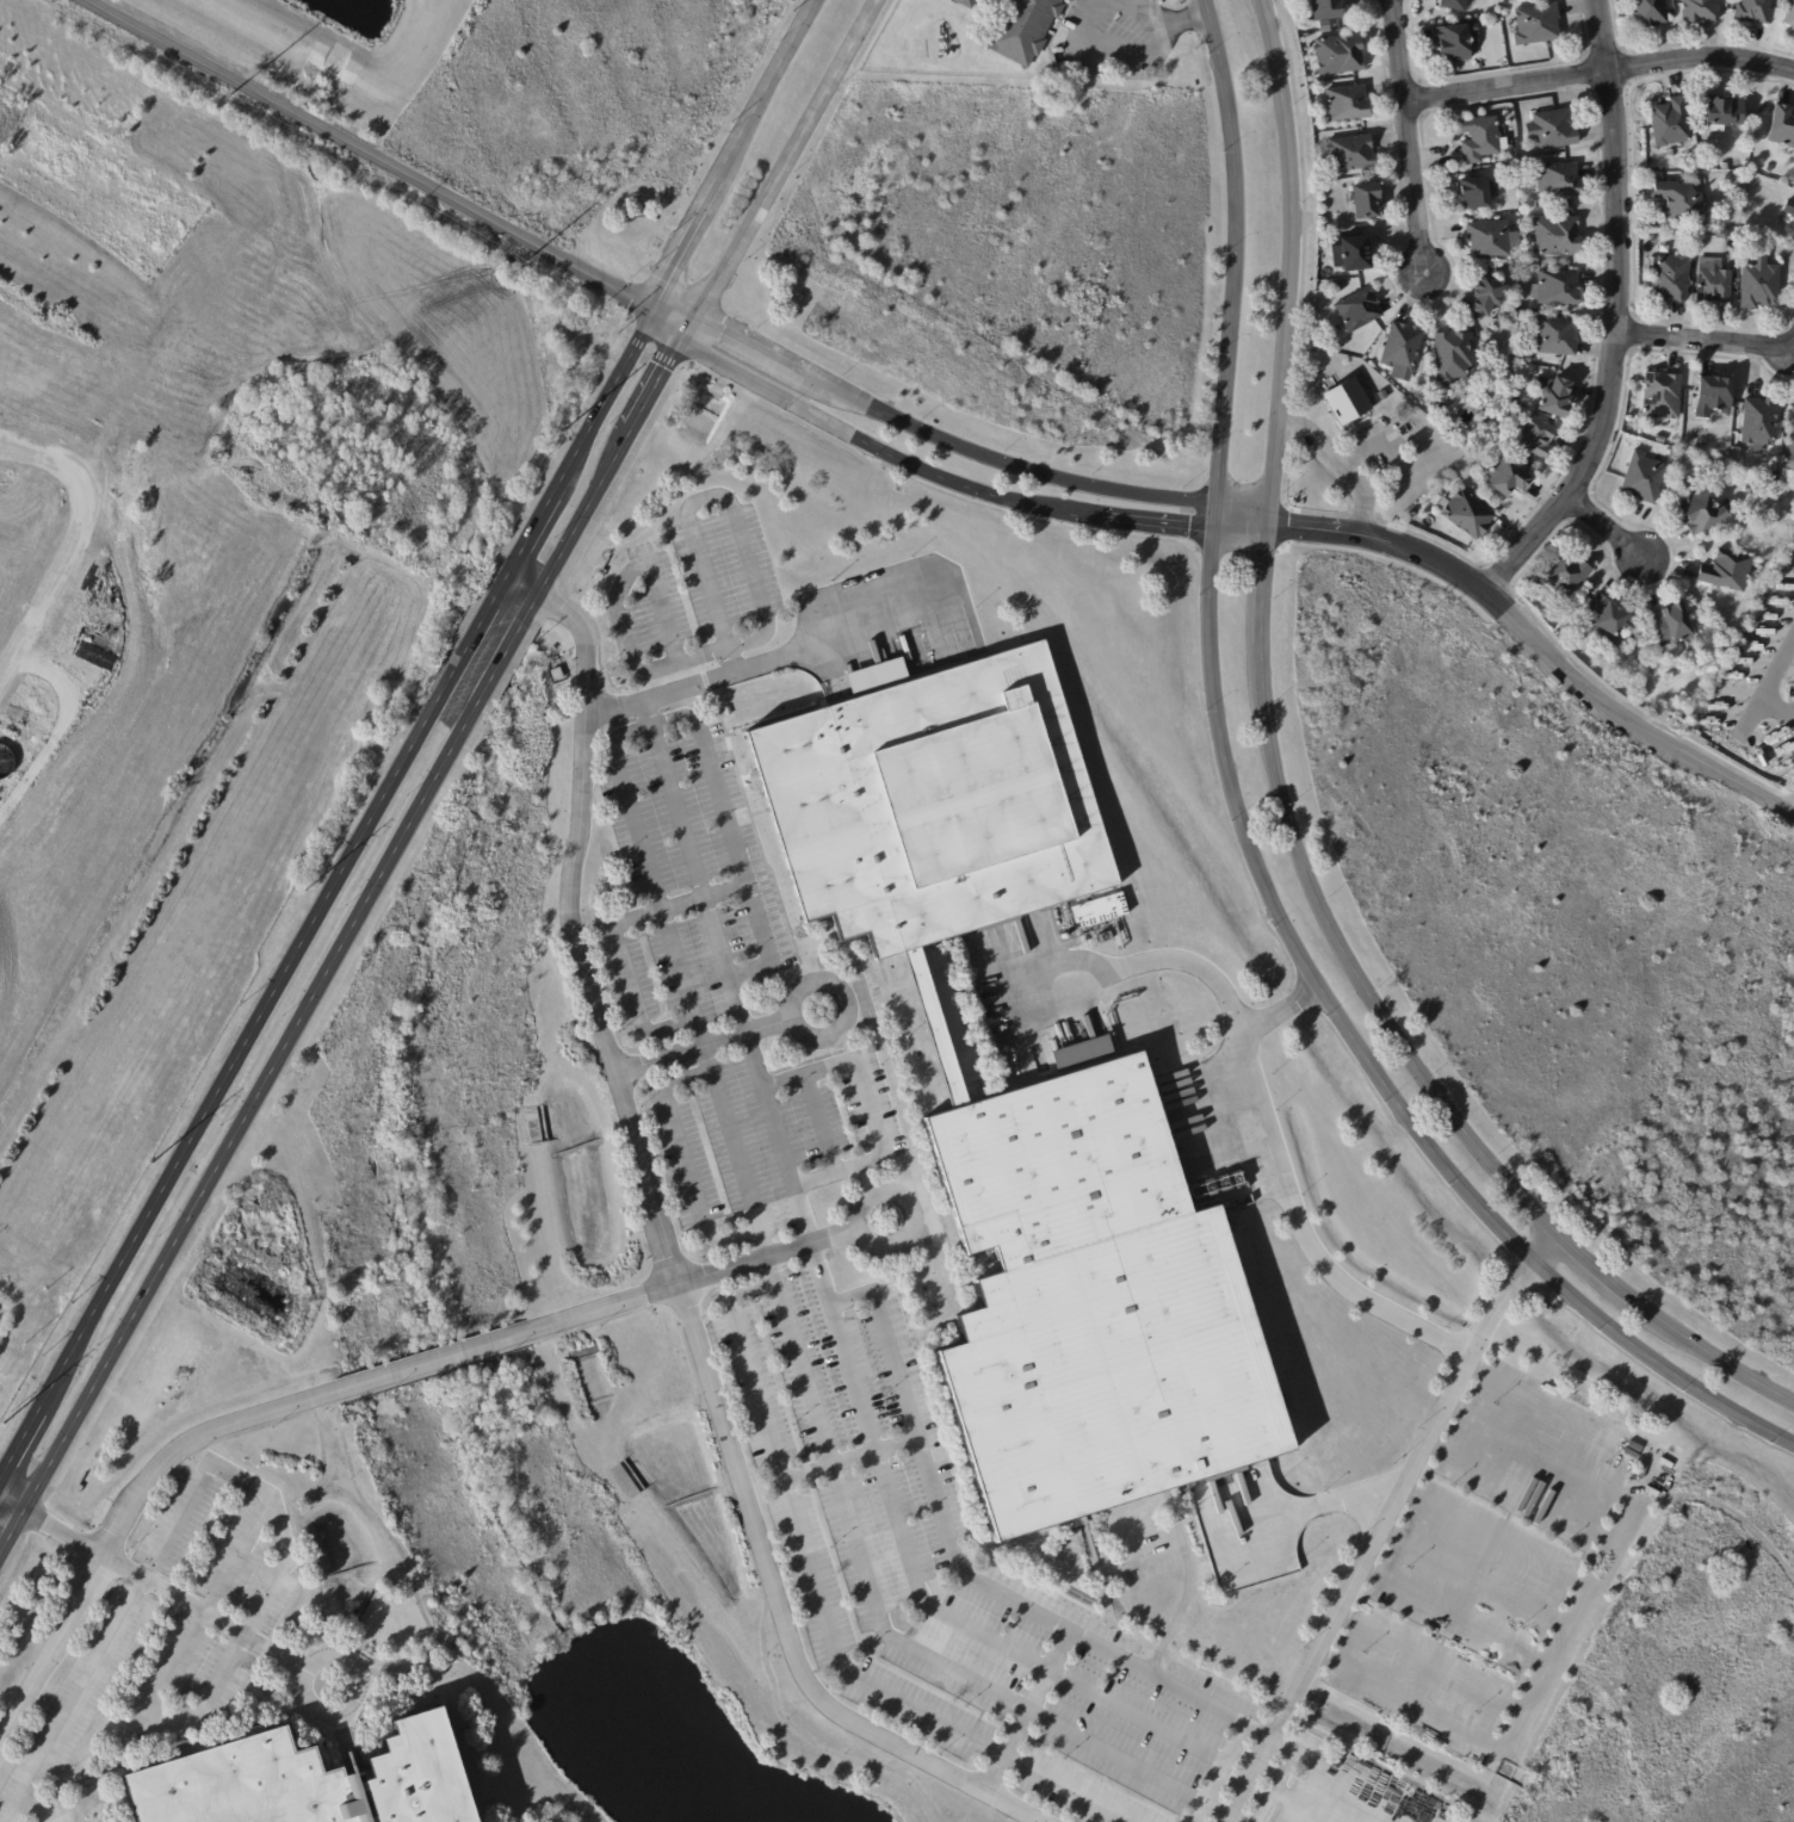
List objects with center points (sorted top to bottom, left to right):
building: (1454, 5)
building: (1700, 11)
building: (1753, 11)
building: (1324, 12)
building: (1651, 13)
building: (1790, 16)
road: (1088, 17)
building: (1479, 23)
building: (1538, 25)
building: (1020, 26)
building: (1793, 30)
building: (1455, 43)
building: (1340, 55)
road: (1600, 73)
building: (1348, 104)
building: (1726, 112)
building: (1671, 124)
building: (1783, 128)
building: (1553, 131)
road: (1409, 138)
building: (1480, 140)
road: (731, 154)
building: (1351, 154)
road: (361, 155)
building: (1726, 167)
building: (1770, 169)
road: (780, 172)
building: (1559, 180)
building: (1476, 194)
building: (1679, 199)
building: (1367, 202)
building: (1548, 210)
building: (1792, 222)
building: (1722, 235)
building: (1555, 237)
building: (1492, 240)
building: (1354, 254)
building: (1674, 280)
building: (1762, 285)
building: (1714, 286)
building: (1337, 287)
building: (1557, 289)
building: (1489, 298)
building: (1359, 310)
road: (1608, 315)
building: (1555, 337)
road: (1703, 346)
building: (1403, 352)
building: (1454, 359)
building: (1526, 359)
building: (1328, 385)
building: (1382, 396)
building: (1663, 397)
building: (1714, 398)
building: (1423, 399)
building: (1557, 399)
building: (1348, 402)
building: (1520, 403)
building: (1759, 424)
building: (1536, 439)
road: (949, 441)
building: (1495, 441)
building: (1662, 441)
building: (1792, 442)
building: (1675, 456)
road: (1343, 465)
road: (939, 477)
building: (1505, 479)
building: (1644, 479)
road: (719, 495)
building: (1702, 514)
building: (1467, 516)
road: (1604, 531)
landfill: (52, 570)
building: (1727, 572)
building: (1565, 577)
road: (516, 585)
road: (620, 615)
building: (1608, 619)
building: (1672, 627)
road: (1540, 646)
building: (1631, 655)
building: (1638, 661)
road: (769, 662)
building: (556, 674)
road: (1765, 687)
road: (1777, 706)
building: (725, 712)
road: (1283, 800)
building: (926, 805)
road: (580, 824)
road: (1242, 832)
road: (730, 838)
road: (694, 868)
road: (651, 875)
road: (324, 890)
building: (1097, 910)
road: (612, 936)
road: (336, 946)
road: (798, 983)
road: (623, 1093)
road: (867, 1102)
road: (1260, 1104)
road: (901, 1123)
road: (777, 1139)
road: (736, 1151)
road: (682, 1161)
road: (864, 1196)
road: (1540, 1247)
road: (688, 1281)
building: (1084, 1304)
road: (458, 1353)
road: (462, 1364)
road: (705, 1419)
road: (1538, 1451)
road: (322, 1465)
road: (273, 1476)
road: (137, 1492)
road: (11, 1506)
road: (1372, 1538)
road: (953, 1564)
road: (1093, 1567)
building: (1111, 1573)
road: (1472, 1576)
road: (413, 1586)
road: (162, 1591)
road: (1576, 1606)
road: (939, 1611)
road: (778, 1613)
road: (823, 1615)
road: (881, 1631)
road: (432, 1651)
road: (1427, 1662)
road: (364, 1665)
road: (299, 1681)
road: (74, 1700)
road: (835, 1756)
road: (1353, 1778)
building: (301, 1781)
road: (1275, 1784)
road: (33, 1802)
road: (1305, 1804)
road: (1196, 1811)
road: (1233, 1818)

